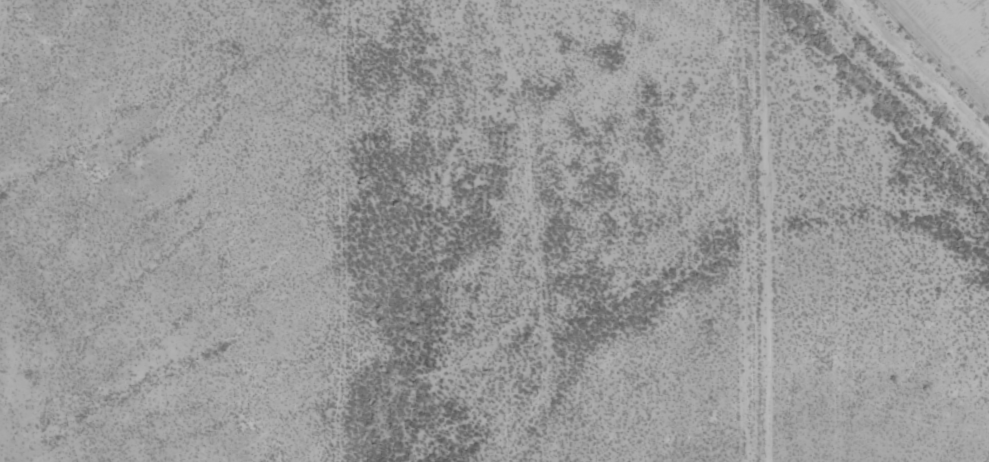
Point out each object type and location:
road: (937, 51)

